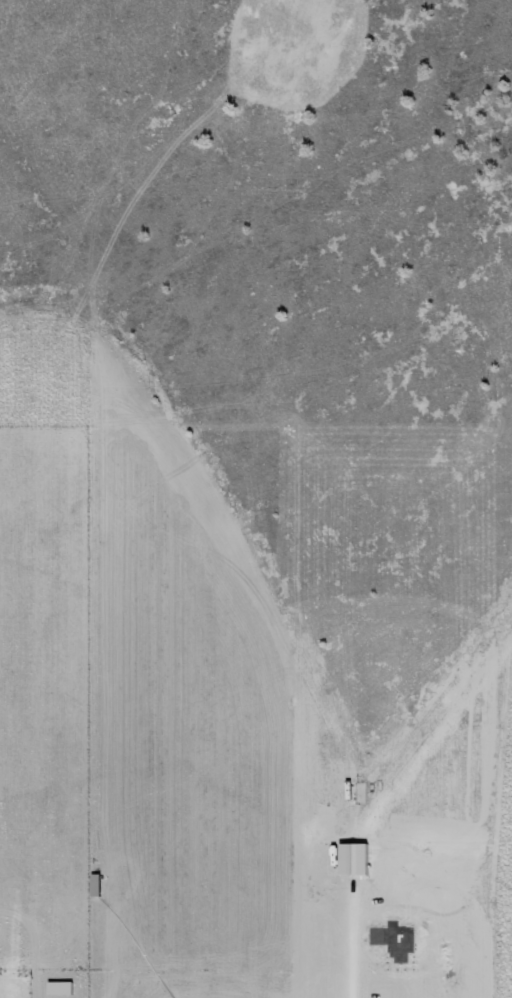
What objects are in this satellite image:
road: (381, 809)

